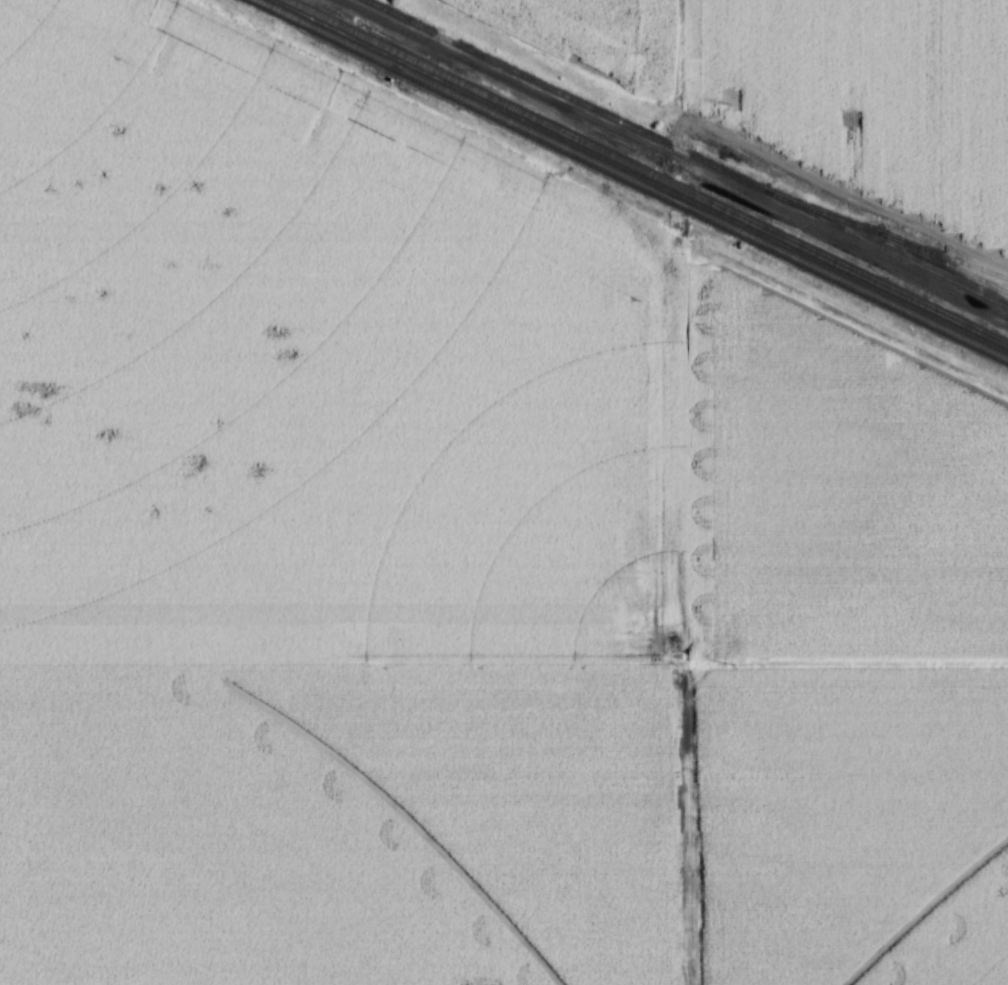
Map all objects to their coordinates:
railway: (688, 151)
railway: (647, 172)
railway: (629, 181)

